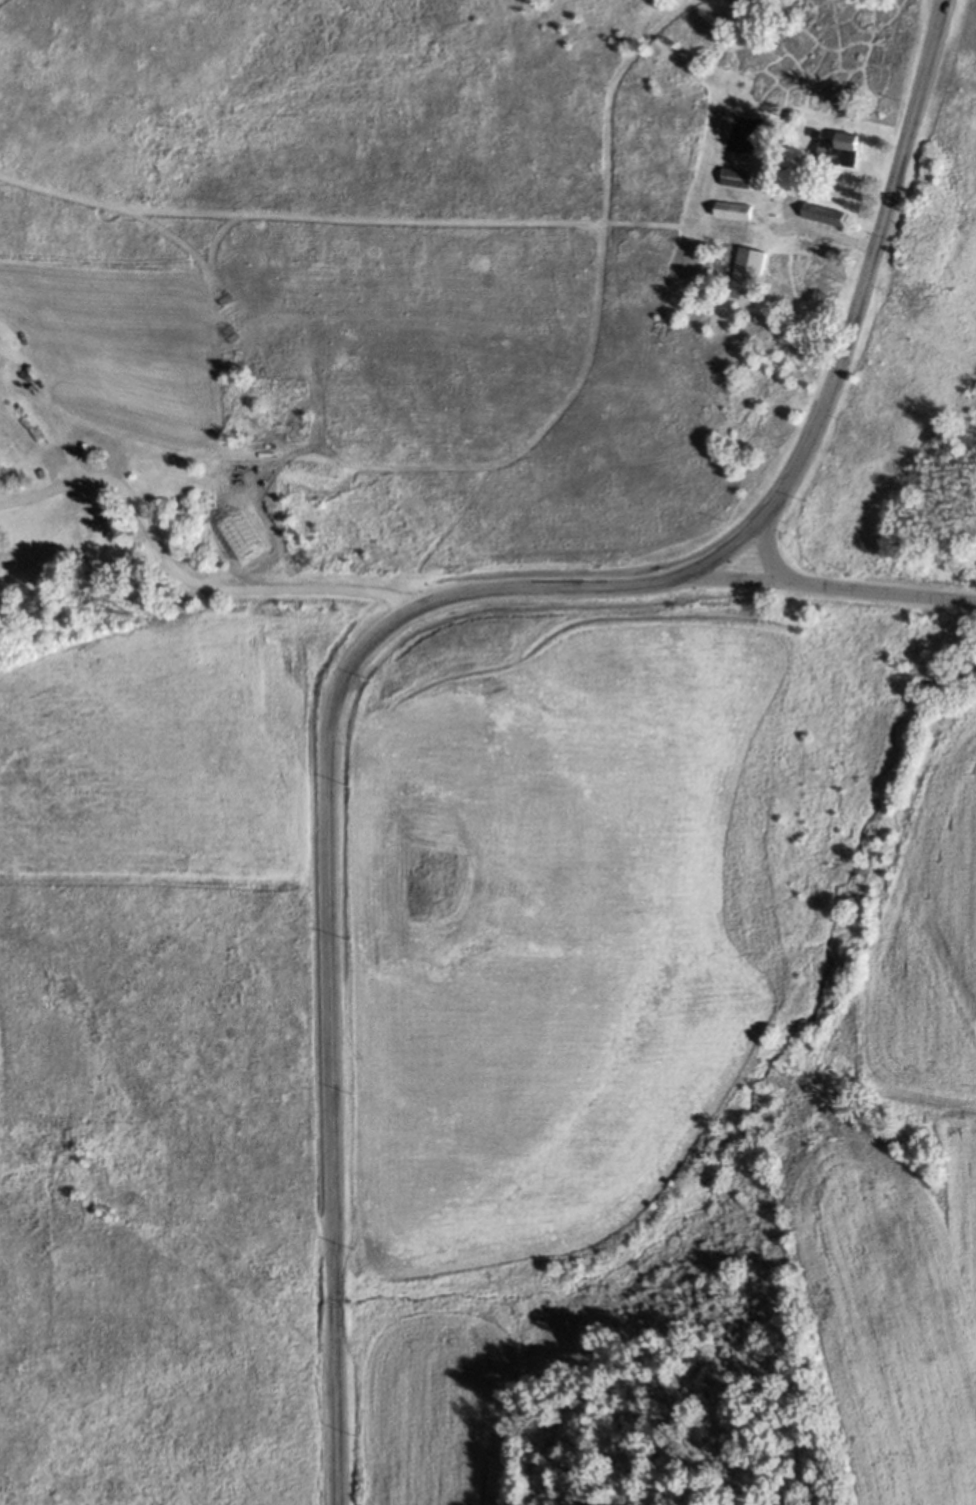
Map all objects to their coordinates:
building: (832, 152)
building: (736, 177)
building: (733, 209)
building: (825, 212)
road: (830, 226)
building: (748, 273)
road: (770, 556)
road: (185, 579)
road: (824, 587)
road: (411, 612)

